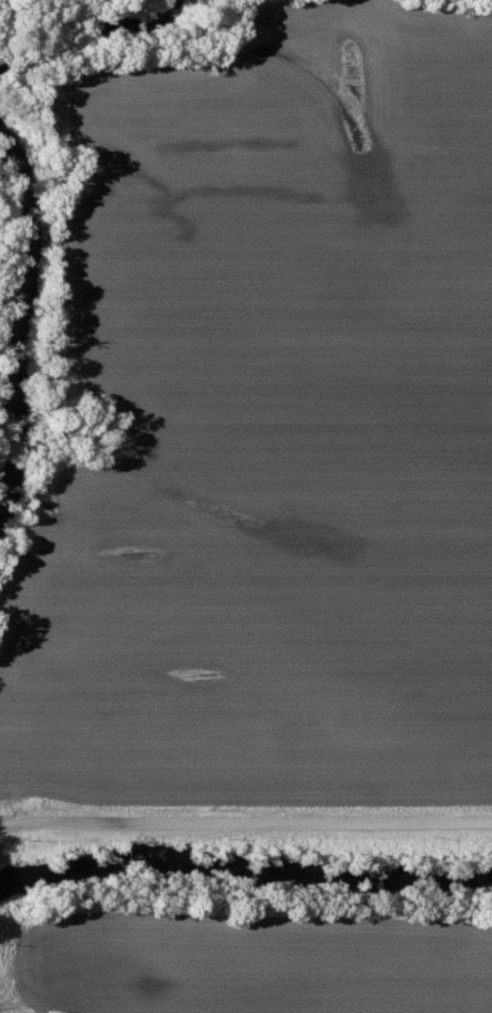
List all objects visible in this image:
river: (64, 43)
river: (25, 262)
road: (244, 819)
river: (243, 873)

